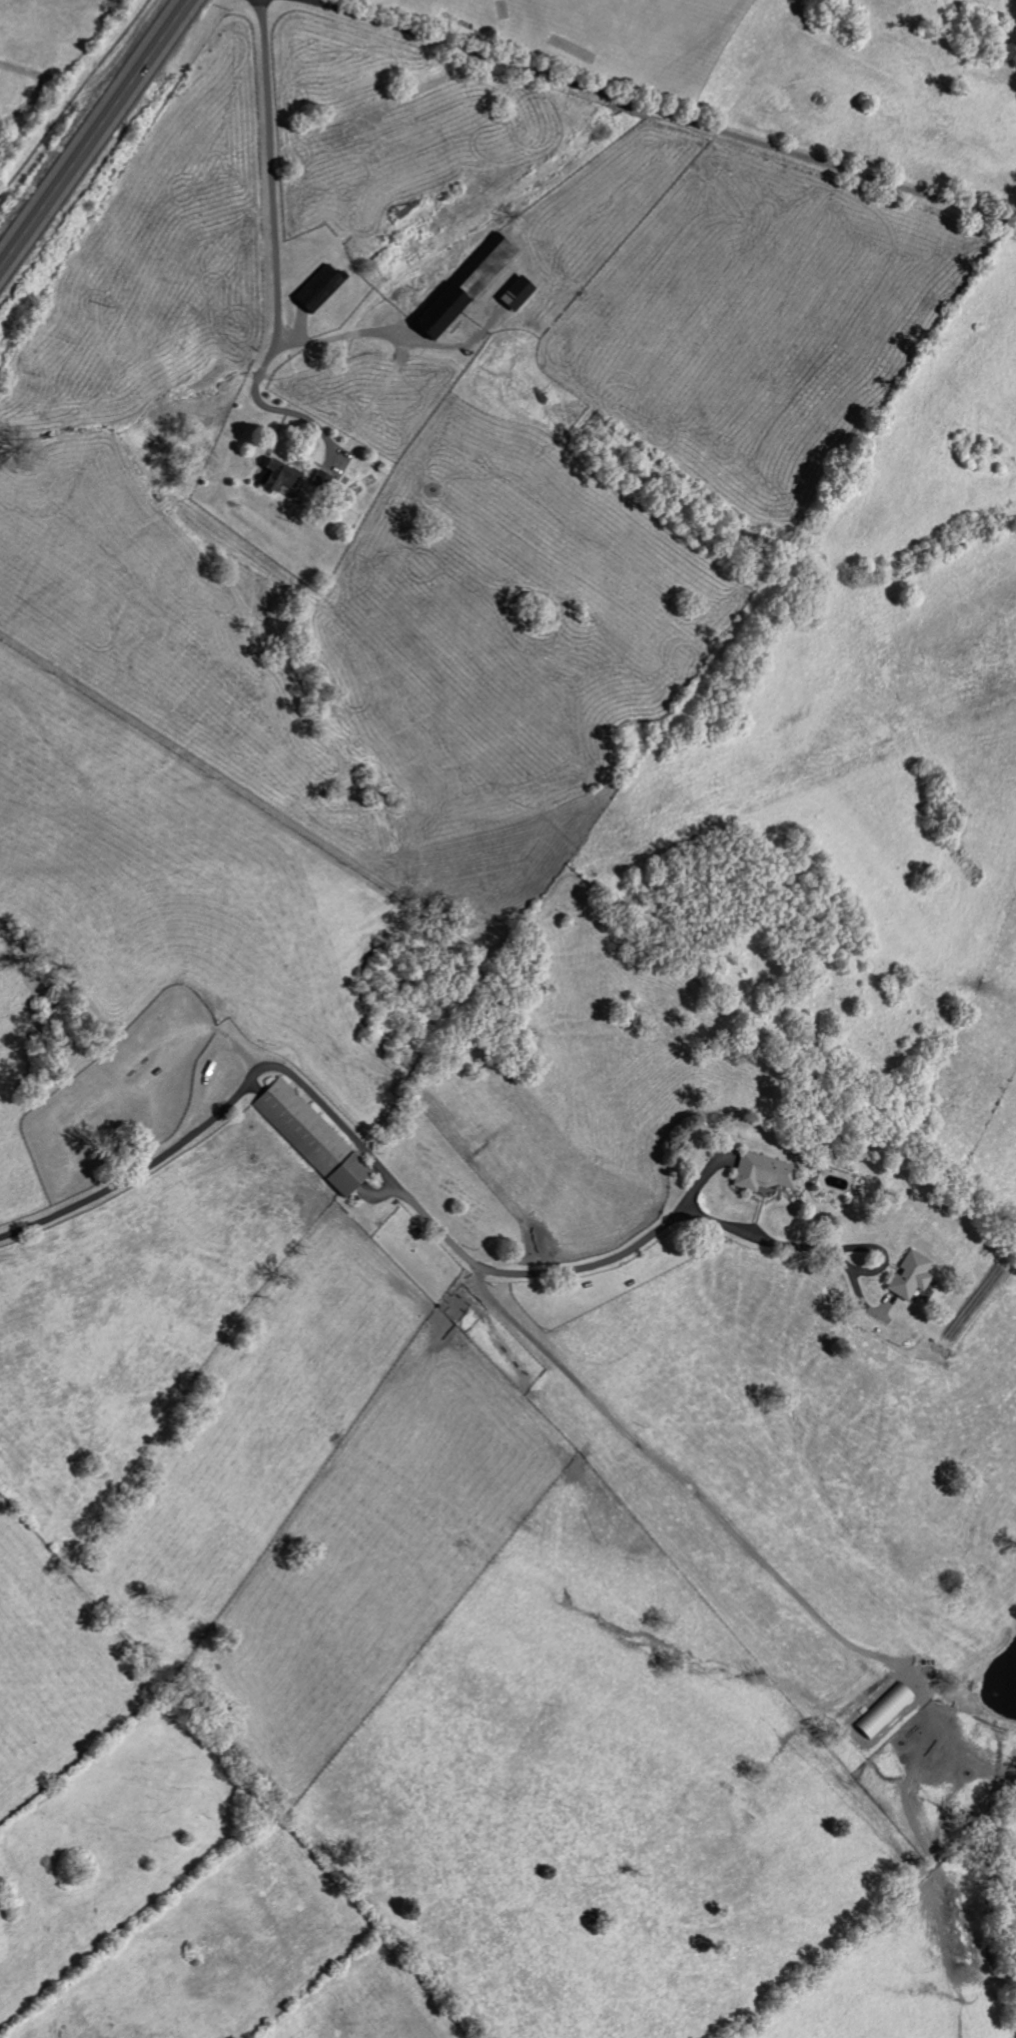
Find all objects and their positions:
road: (657, 112)
road: (94, 132)
road: (275, 242)
building: (464, 286)
building: (318, 288)
building: (516, 293)
road: (353, 333)
road: (335, 454)
building: (281, 479)
building: (319, 480)
building: (311, 1138)
road: (139, 1173)
building: (764, 1173)
road: (845, 1264)
road: (507, 1275)
building: (909, 1277)
road: (672, 1480)
building: (884, 1711)

